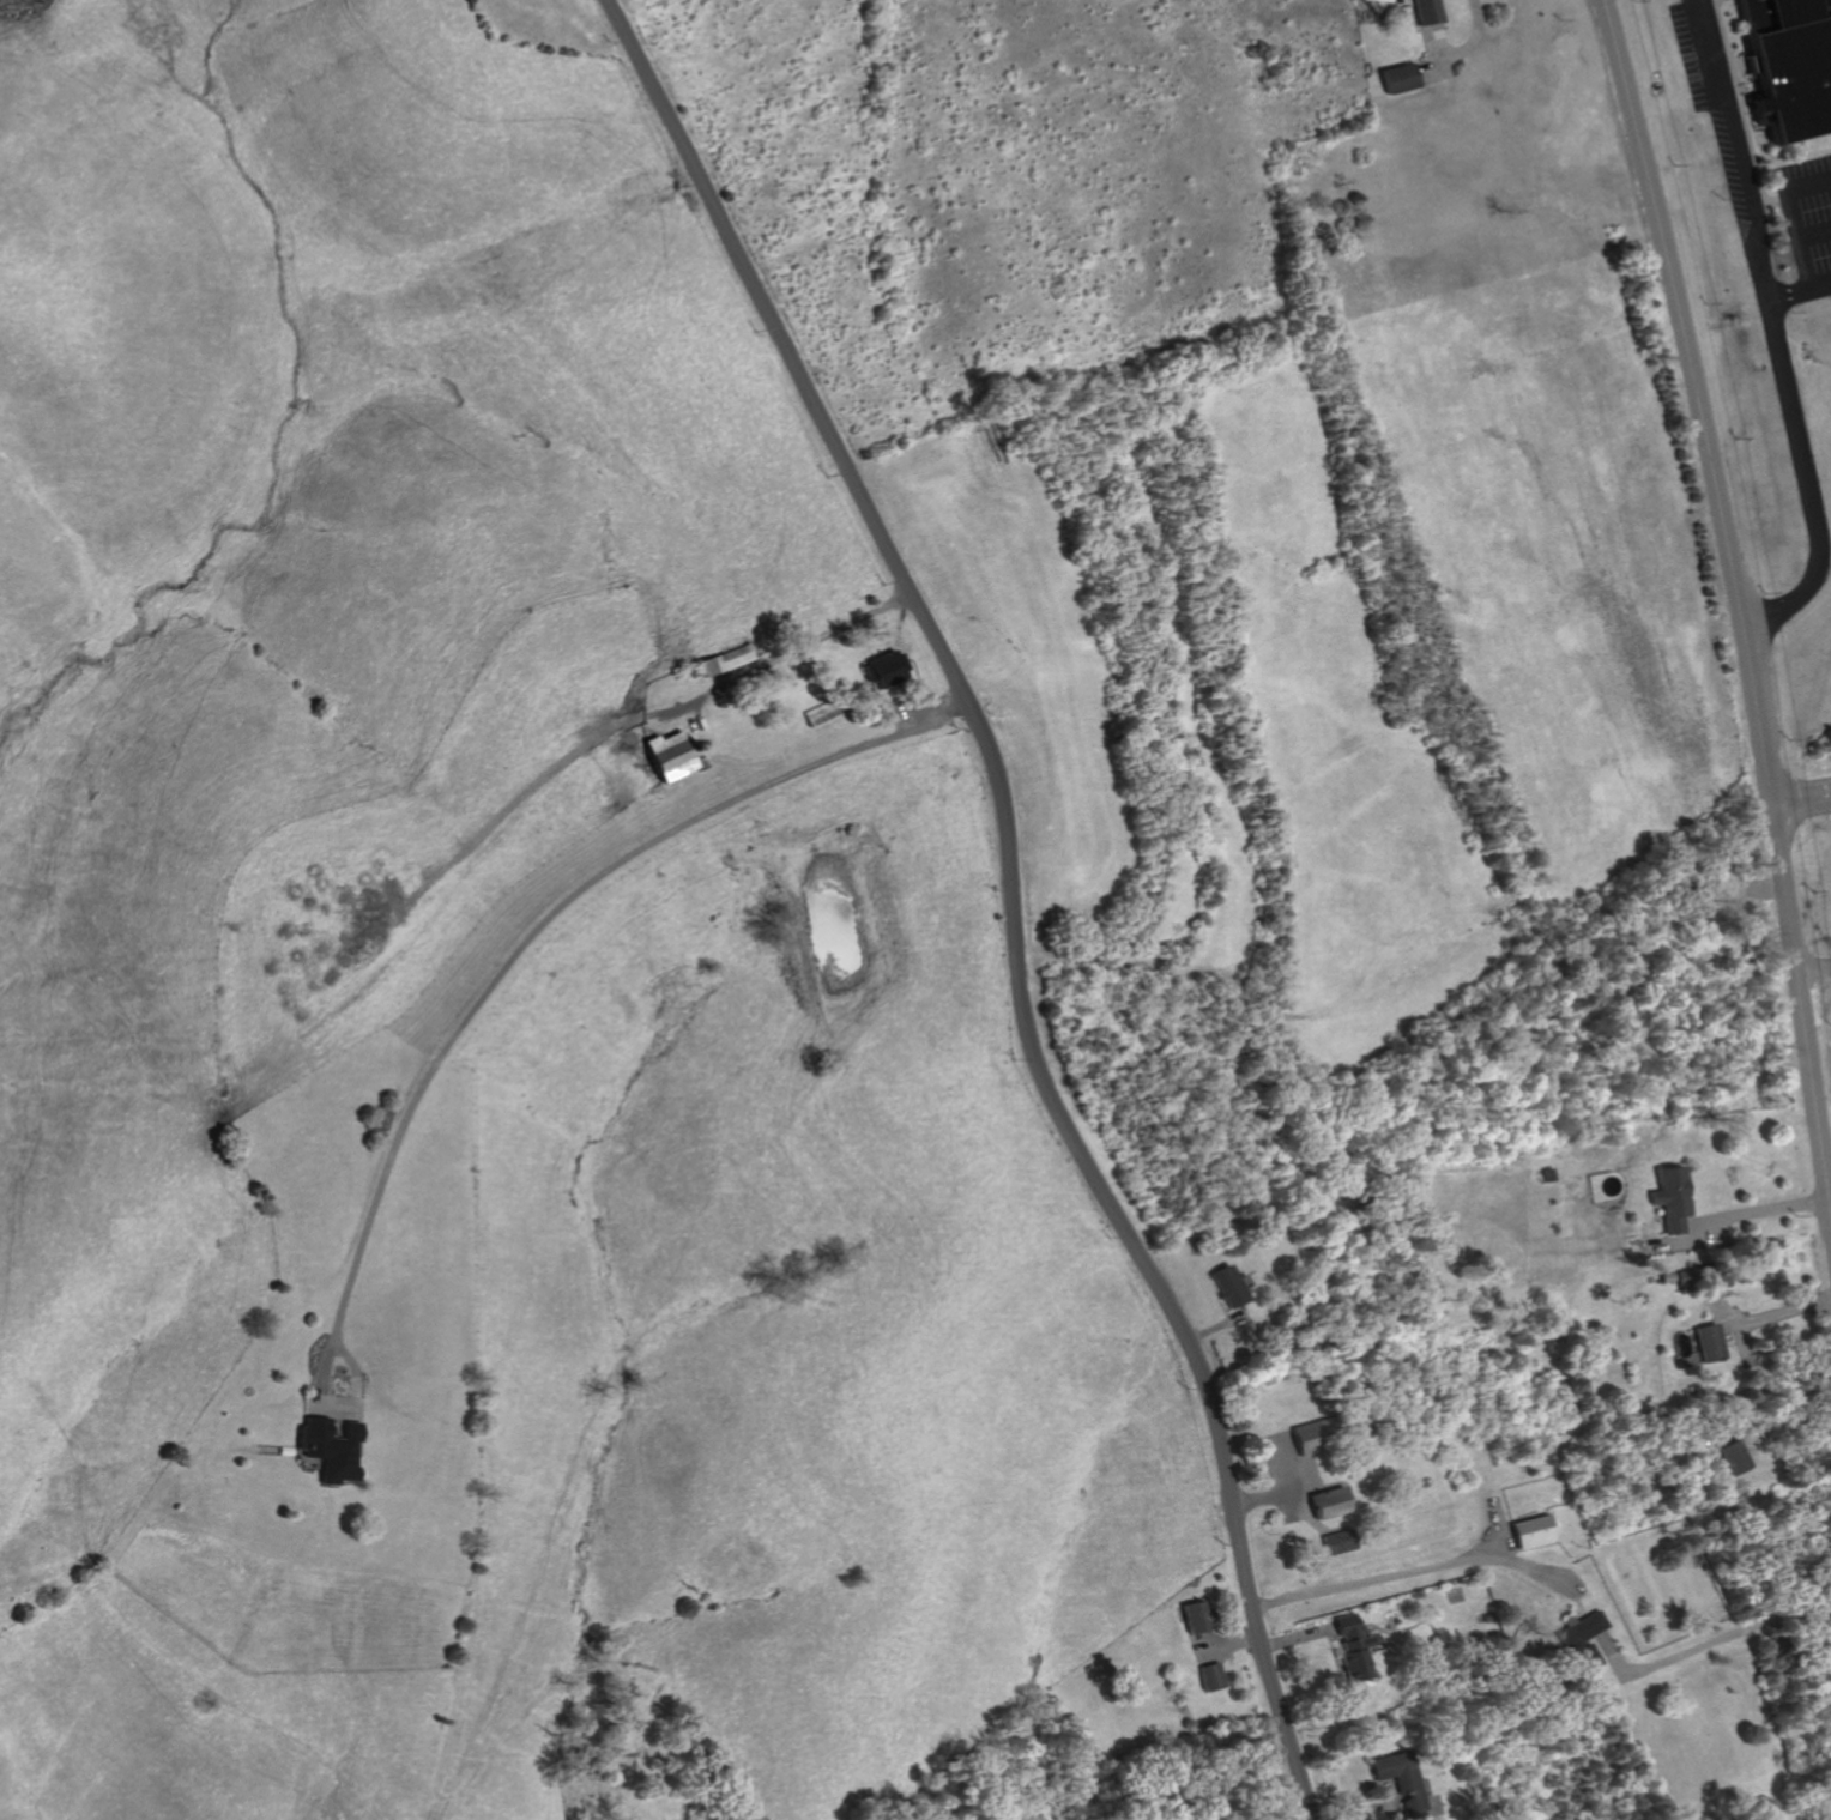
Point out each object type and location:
building: (1420, 11)
road: (1475, 24)
building: (1793, 61)
building: (1394, 79)
road: (1742, 147)
road: (1796, 217)
road: (1817, 234)
road: (1800, 290)
road: (1809, 479)
road: (1735, 587)
building: (723, 659)
building: (883, 666)
building: (667, 756)
road: (1803, 806)
road: (1008, 893)
road: (562, 909)
road: (1815, 966)
building: (1672, 1198)
road: (1763, 1211)
building: (1225, 1287)
road: (1778, 1313)
building: (1709, 1343)
road: (1785, 1404)
building: (1307, 1438)
building: (328, 1450)
building: (1733, 1458)
building: (1327, 1504)
building: (1527, 1532)
building: (1336, 1543)
road: (1377, 1579)
building: (1196, 1616)
building: (1578, 1640)
road: (1714, 1645)
building: (1352, 1647)
building: (1211, 1677)
building: (1401, 1778)

